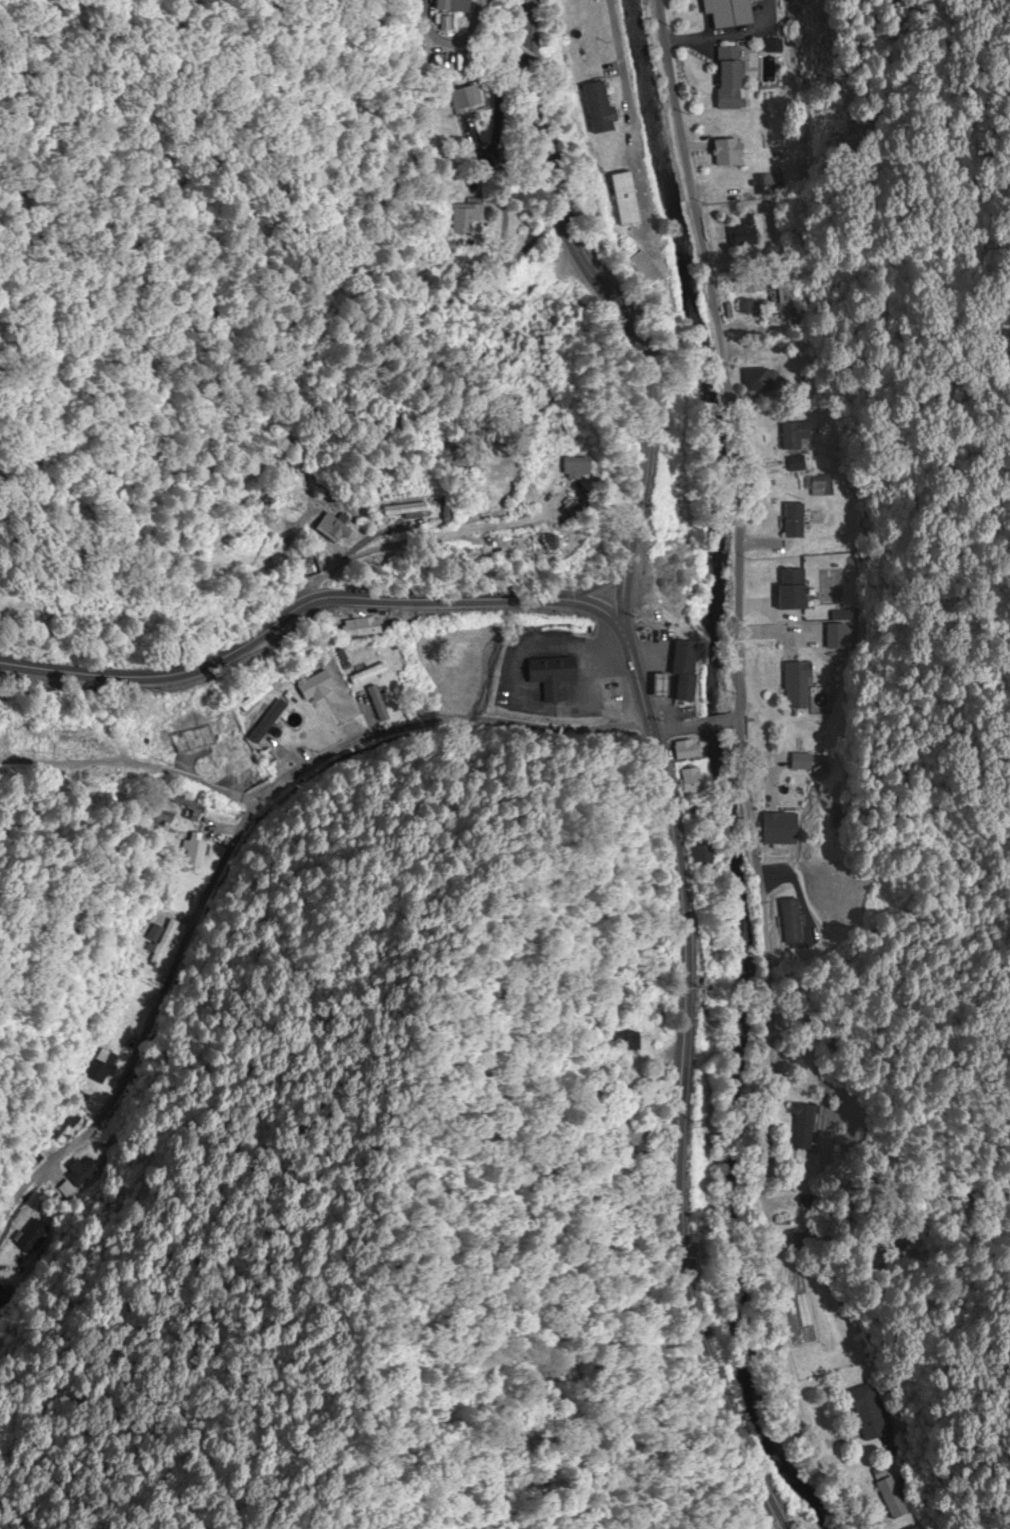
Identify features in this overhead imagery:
building: (456, 5)
building: (731, 12)
building: (731, 67)
building: (466, 96)
building: (598, 106)
road: (626, 108)
building: (726, 149)
building: (626, 196)
building: (469, 218)
building: (746, 232)
building: (643, 268)
building: (744, 308)
road: (613, 310)
building: (755, 379)
building: (793, 435)
building: (795, 463)
building: (584, 468)
building: (408, 509)
building: (793, 521)
building: (335, 529)
road: (425, 543)
building: (554, 545)
building: (673, 581)
building: (792, 590)
road: (596, 591)
road: (305, 605)
building: (363, 628)
building: (684, 670)
building: (367, 674)
building: (550, 677)
building: (315, 686)
building: (796, 686)
building: (662, 687)
building: (260, 693)
road: (737, 719)
road: (730, 720)
building: (268, 724)
road: (704, 724)
road: (666, 730)
building: (686, 750)
building: (236, 757)
road: (124, 760)
building: (800, 762)
river: (720, 779)
building: (690, 781)
building: (789, 798)
building: (195, 854)
building: (701, 855)
road: (221, 865)
building: (790, 924)
building: (160, 937)
building: (625, 1041)
building: (100, 1065)
road: (676, 1089)
building: (62, 1123)
building: (866, 1412)
building: (890, 1498)
building: (913, 1528)

